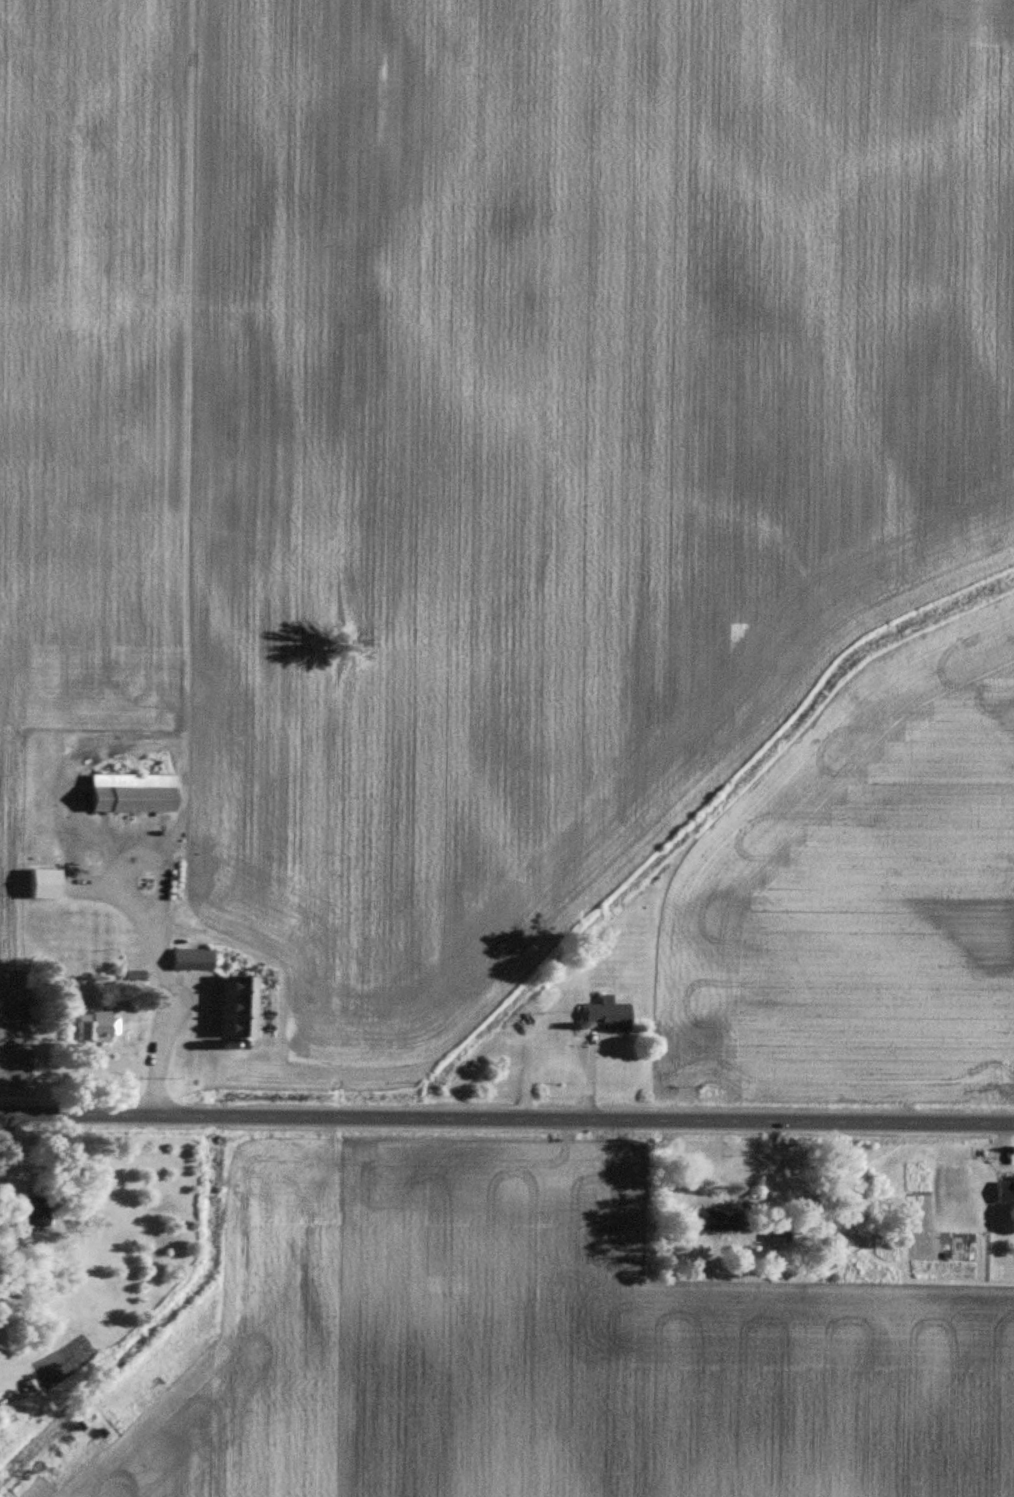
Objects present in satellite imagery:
building: (129, 794)
building: (40, 884)
building: (190, 960)
building: (236, 1006)
building: (607, 1016)
building: (98, 1026)
road: (506, 1125)
building: (1005, 1193)
building: (29, 1215)
building: (713, 1221)
building: (777, 1234)
building: (967, 1264)
building: (878, 1277)

